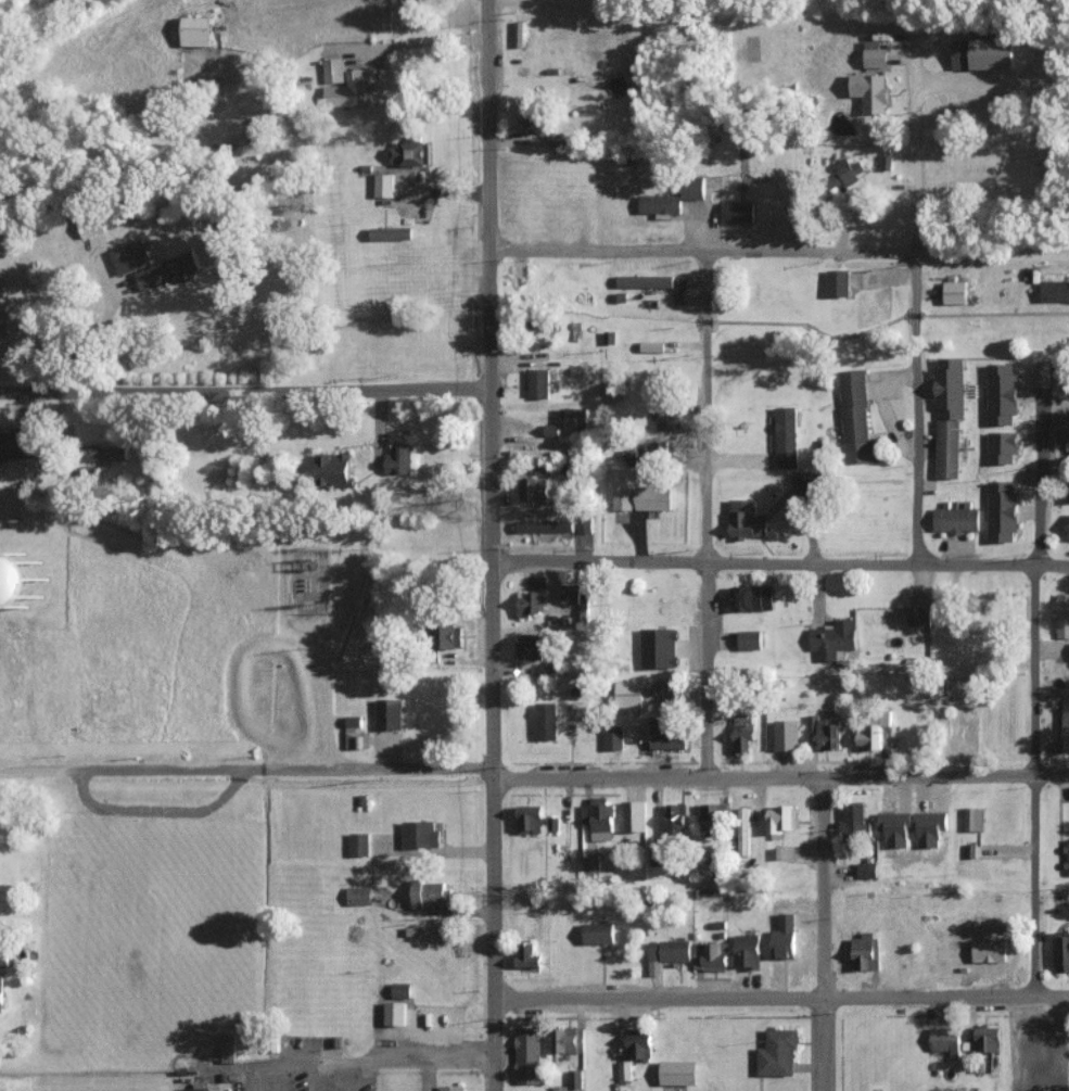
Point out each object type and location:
building: (195, 30)
road: (423, 42)
building: (984, 50)
building: (875, 54)
building: (334, 69)
building: (348, 90)
building: (870, 91)
building: (537, 122)
road: (494, 132)
building: (410, 151)
building: (887, 162)
building: (845, 173)
building: (384, 185)
building: (693, 188)
road: (920, 195)
building: (660, 203)
building: (738, 212)
building: (89, 221)
building: (392, 232)
road: (709, 253)
building: (130, 256)
road: (993, 257)
building: (167, 270)
building: (645, 280)
building: (838, 282)
road: (709, 283)
building: (1055, 290)
building: (956, 292)
road: (916, 316)
road: (708, 321)
building: (1045, 373)
building: (538, 382)
building: (951, 386)
road: (251, 394)
building: (1002, 394)
road: (663, 395)
building: (577, 418)
building: (669, 419)
building: (856, 419)
building: (1061, 422)
building: (787, 436)
road: (917, 440)
building: (17, 444)
building: (1002, 446)
building: (949, 448)
building: (107, 453)
building: (532, 453)
building: (653, 453)
building: (399, 458)
building: (334, 469)
building: (535, 490)
building: (1067, 491)
building: (653, 497)
building: (623, 499)
building: (1002, 510)
building: (747, 519)
building: (956, 519)
building: (583, 524)
building: (546, 525)
road: (785, 555)
road: (715, 556)
water tower: (18, 581)
building: (24, 581)
power substation: (309, 582)
building: (574, 594)
building: (751, 597)
building: (530, 602)
building: (919, 616)
building: (1061, 616)
building: (444, 635)
building: (833, 638)
building: (750, 639)
building: (530, 646)
building: (659, 647)
road: (496, 677)
building: (628, 694)
road: (1038, 711)
building: (389, 713)
building: (546, 721)
building: (1067, 723)
building: (873, 731)
building: (825, 732)
building: (355, 734)
building: (670, 734)
building: (958, 734)
building: (786, 735)
building: (614, 737)
building: (743, 737)
road: (2, 770)
road: (535, 778)
building: (634, 815)
building: (675, 816)
building: (599, 817)
building: (530, 819)
building: (712, 819)
building: (781, 819)
building: (975, 819)
building: (854, 820)
building: (894, 828)
building: (929, 828)
building: (743, 830)
building: (420, 835)
building: (359, 843)
building: (1067, 855)
building: (590, 864)
building: (867, 870)
building: (429, 892)
building: (359, 895)
building: (427, 930)
building: (599, 933)
building: (785, 936)
road: (823, 936)
building: (748, 950)
building: (865, 951)
building: (1061, 951)
building: (667, 953)
building: (529, 955)
building: (3, 956)
building: (710, 956)
building: (402, 990)
building: (1, 991)
road: (782, 997)
building: (395, 1013)
building: (987, 1039)
building: (569, 1040)
building: (946, 1040)
building: (1027, 1040)
building: (639, 1042)
building: (778, 1052)
building: (527, 1054)
road: (358, 1062)
parking lot: (308, 1066)
building: (624, 1069)
building: (679, 1073)
road: (353, 1076)
road: (315, 1077)
road: (270, 1078)
building: (575, 1078)
building: (1020, 1086)
building: (451, 1088)
building: (560, 1088)
building: (201, 1090)

